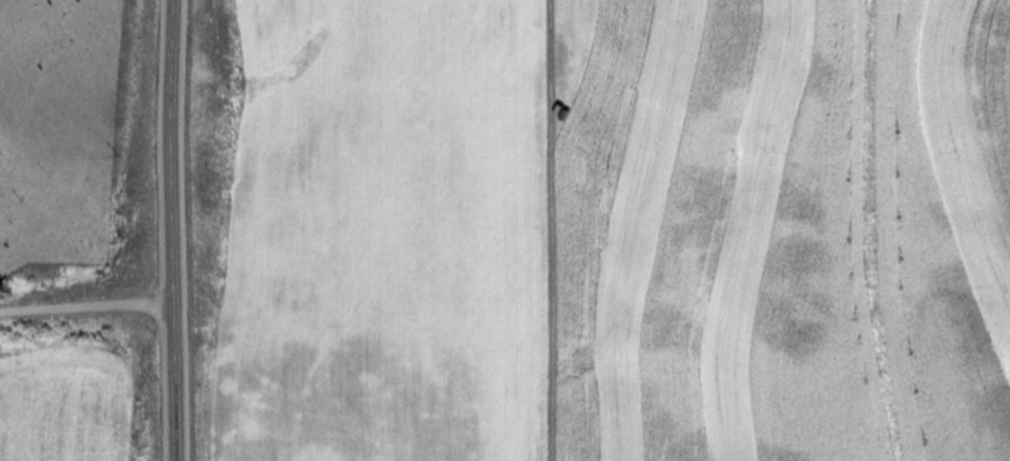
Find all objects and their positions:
road: (180, 230)
road: (549, 230)
road: (849, 299)
road: (91, 320)

